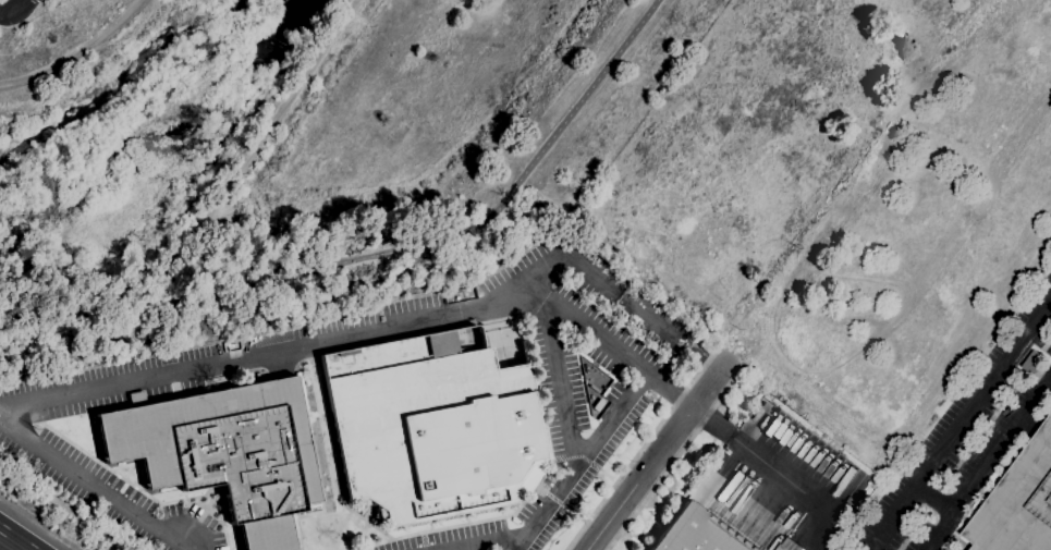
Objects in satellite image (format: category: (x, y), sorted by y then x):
road: (15, 10)
road: (75, 52)
river: (144, 74)
road: (241, 163)
road: (377, 259)
road: (268, 352)
building: (1034, 363)
building: (585, 368)
road: (20, 372)
road: (558, 380)
building: (594, 388)
road: (674, 396)
building: (597, 404)
road: (961, 420)
building: (430, 427)
road: (643, 447)
building: (224, 452)
road: (659, 452)
road: (676, 457)
road: (579, 461)
road: (987, 463)
road: (932, 498)
building: (1018, 503)
road: (816, 527)
building: (696, 533)
road: (11, 541)
road: (486, 546)
building: (783, 548)

